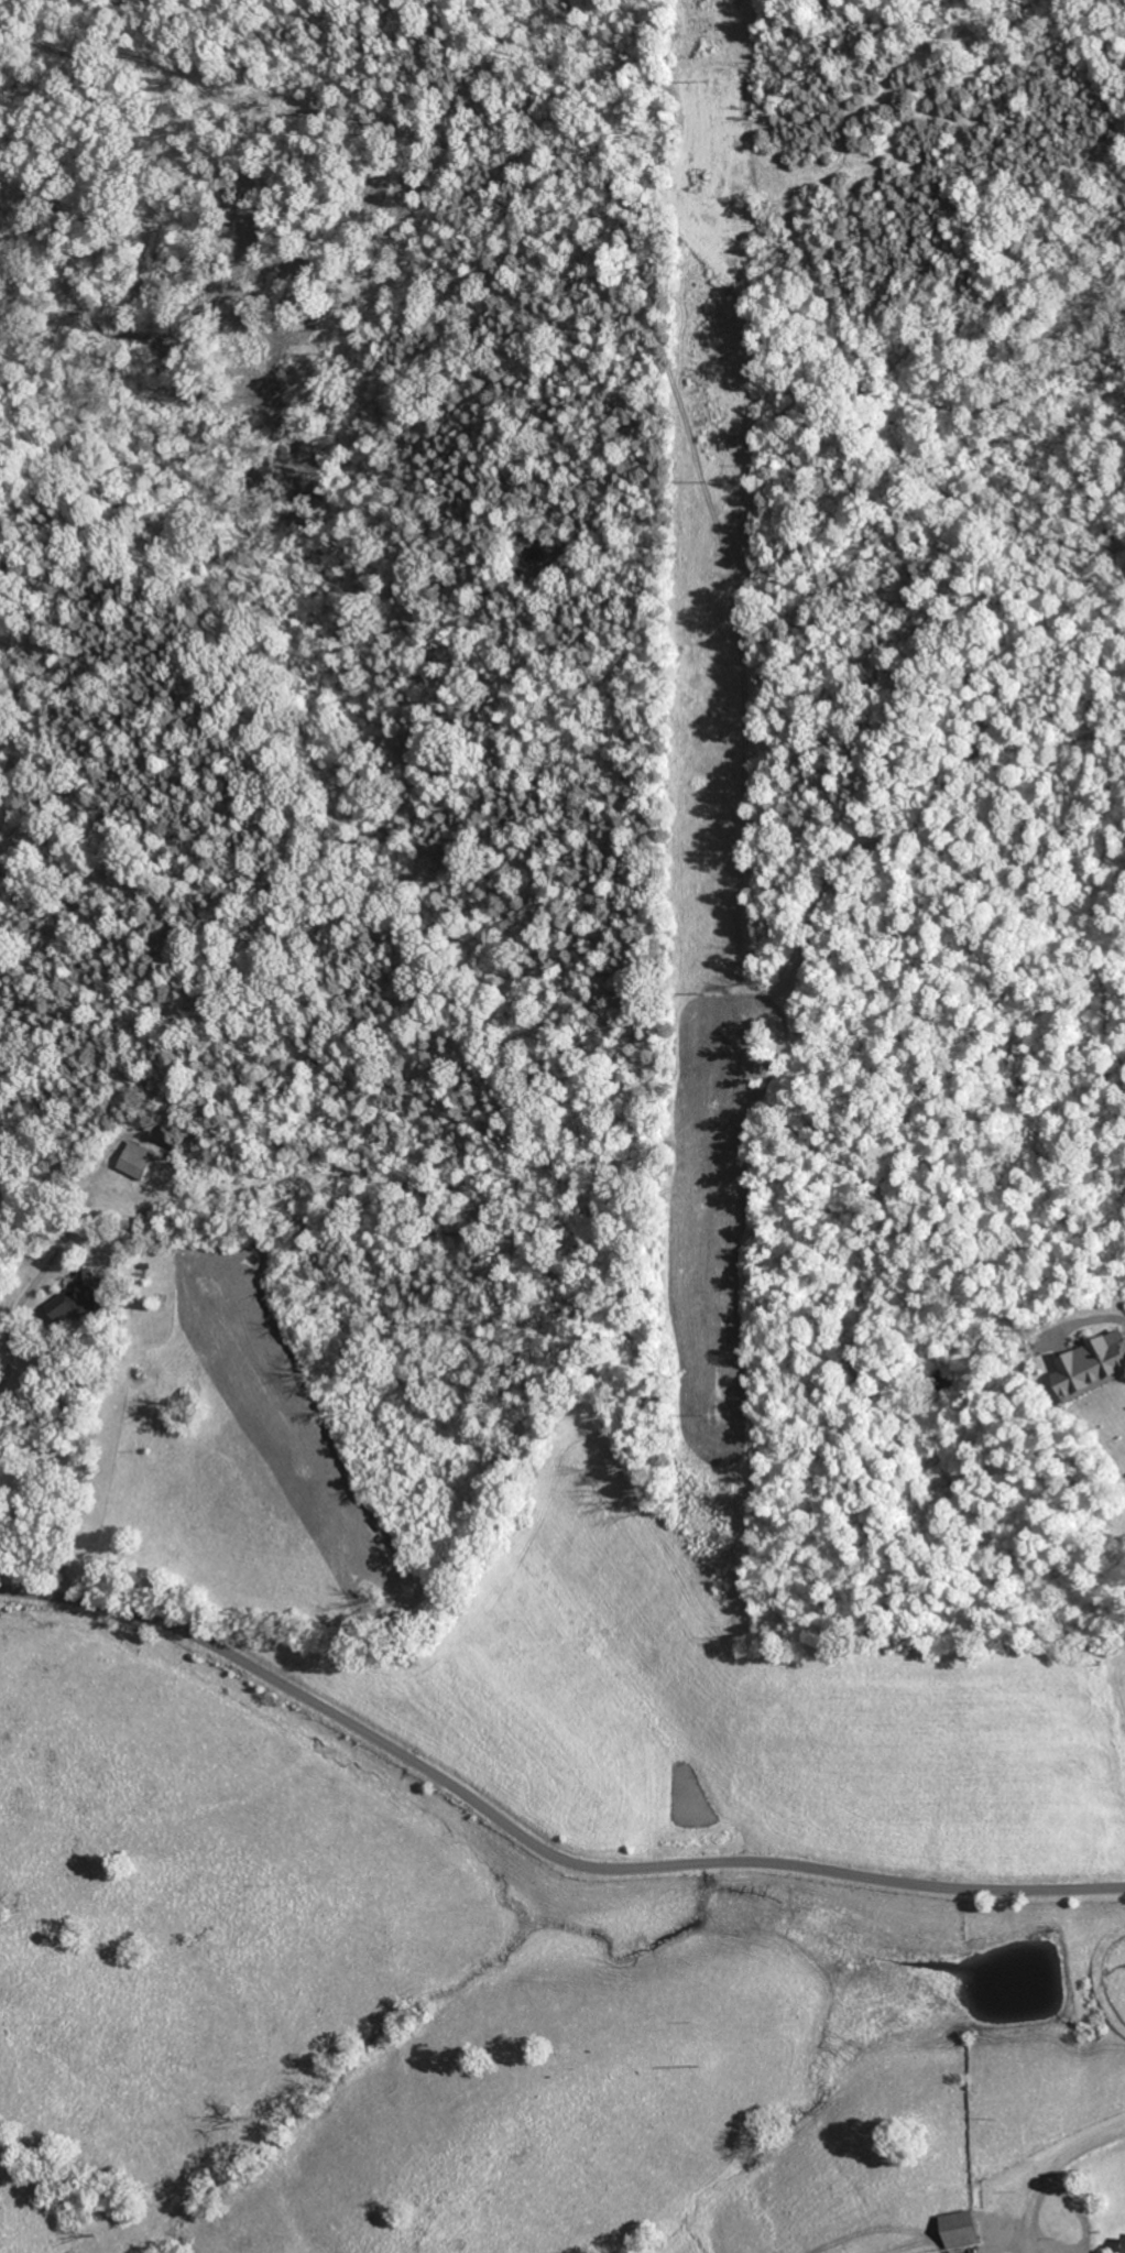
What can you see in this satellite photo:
building: (133, 1161)
building: (77, 1297)
building: (1085, 1364)
road: (533, 1843)
road: (1124, 2228)
building: (954, 2229)
building: (1122, 2244)

